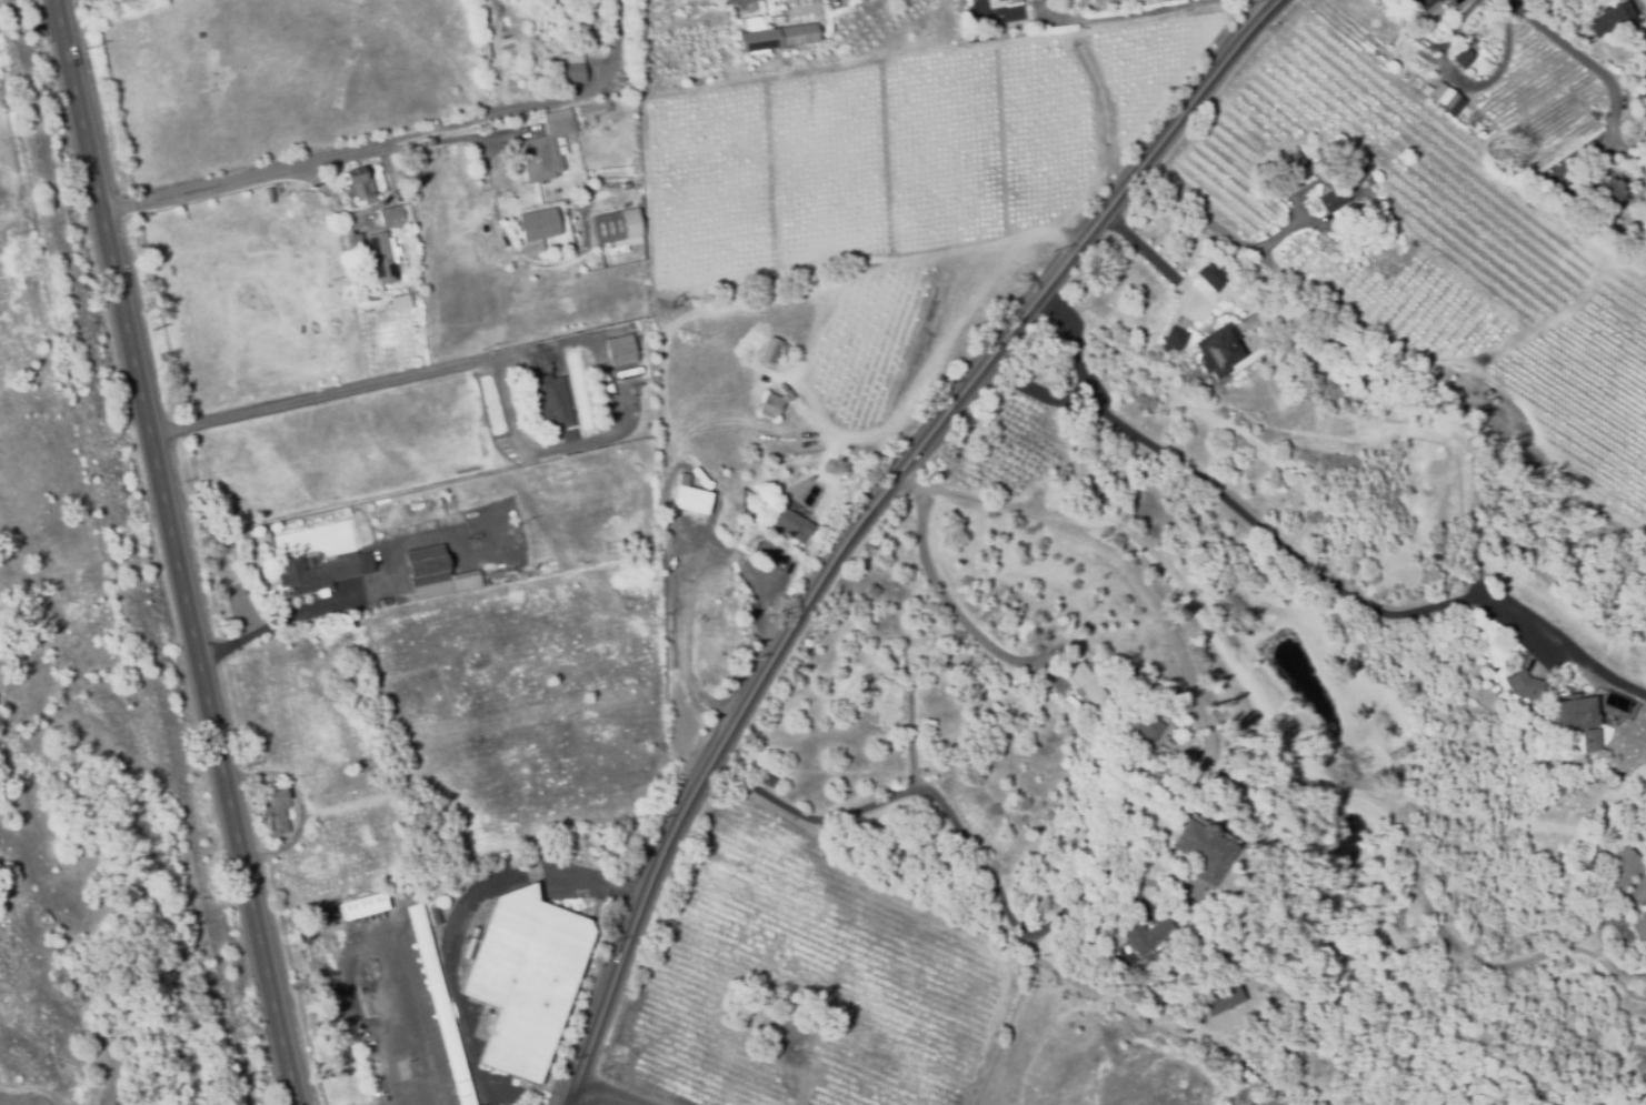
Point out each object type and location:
road: (748, 1)
building: (1000, 3)
building: (1421, 6)
road: (1121, 17)
building: (1606, 24)
building: (777, 36)
road: (618, 56)
building: (1462, 58)
road: (1598, 72)
building: (571, 74)
road: (1465, 86)
building: (1444, 99)
building: (589, 111)
building: (543, 148)
road: (341, 154)
building: (1290, 159)
building: (1354, 168)
building: (501, 169)
building: (288, 188)
building: (359, 188)
building: (1606, 190)
building: (1328, 201)
building: (393, 215)
building: (539, 223)
building: (606, 228)
road: (1218, 231)
building: (355, 243)
building: (380, 259)
road: (912, 261)
building: (398, 304)
building: (1170, 339)
building: (768, 351)
building: (1217, 351)
building: (619, 352)
road: (376, 384)
building: (551, 402)
road: (491, 404)
building: (768, 408)
building: (607, 409)
building: (568, 438)
building: (658, 453)
building: (690, 501)
road: (1239, 509)
road: (866, 519)
building: (788, 525)
building: (748, 538)
railway: (130, 552)
road: (172, 552)
building: (427, 570)
building: (312, 574)
building: (379, 601)
road: (948, 603)
road: (1161, 615)
road: (285, 622)
building: (1048, 659)
building: (1086, 685)
building: (1522, 693)
building: (1572, 720)
building: (1147, 727)
road: (1283, 740)
building: (1590, 740)
building: (1166, 746)
building: (273, 813)
road: (976, 846)
building: (1203, 851)
building: (1623, 871)
road: (1095, 895)
building: (440, 901)
building: (361, 907)
road: (461, 913)
building: (1637, 925)
building: (1145, 935)
building: (523, 978)
building: (1221, 997)
building: (438, 1005)
road: (415, 1035)
road: (600, 1095)

